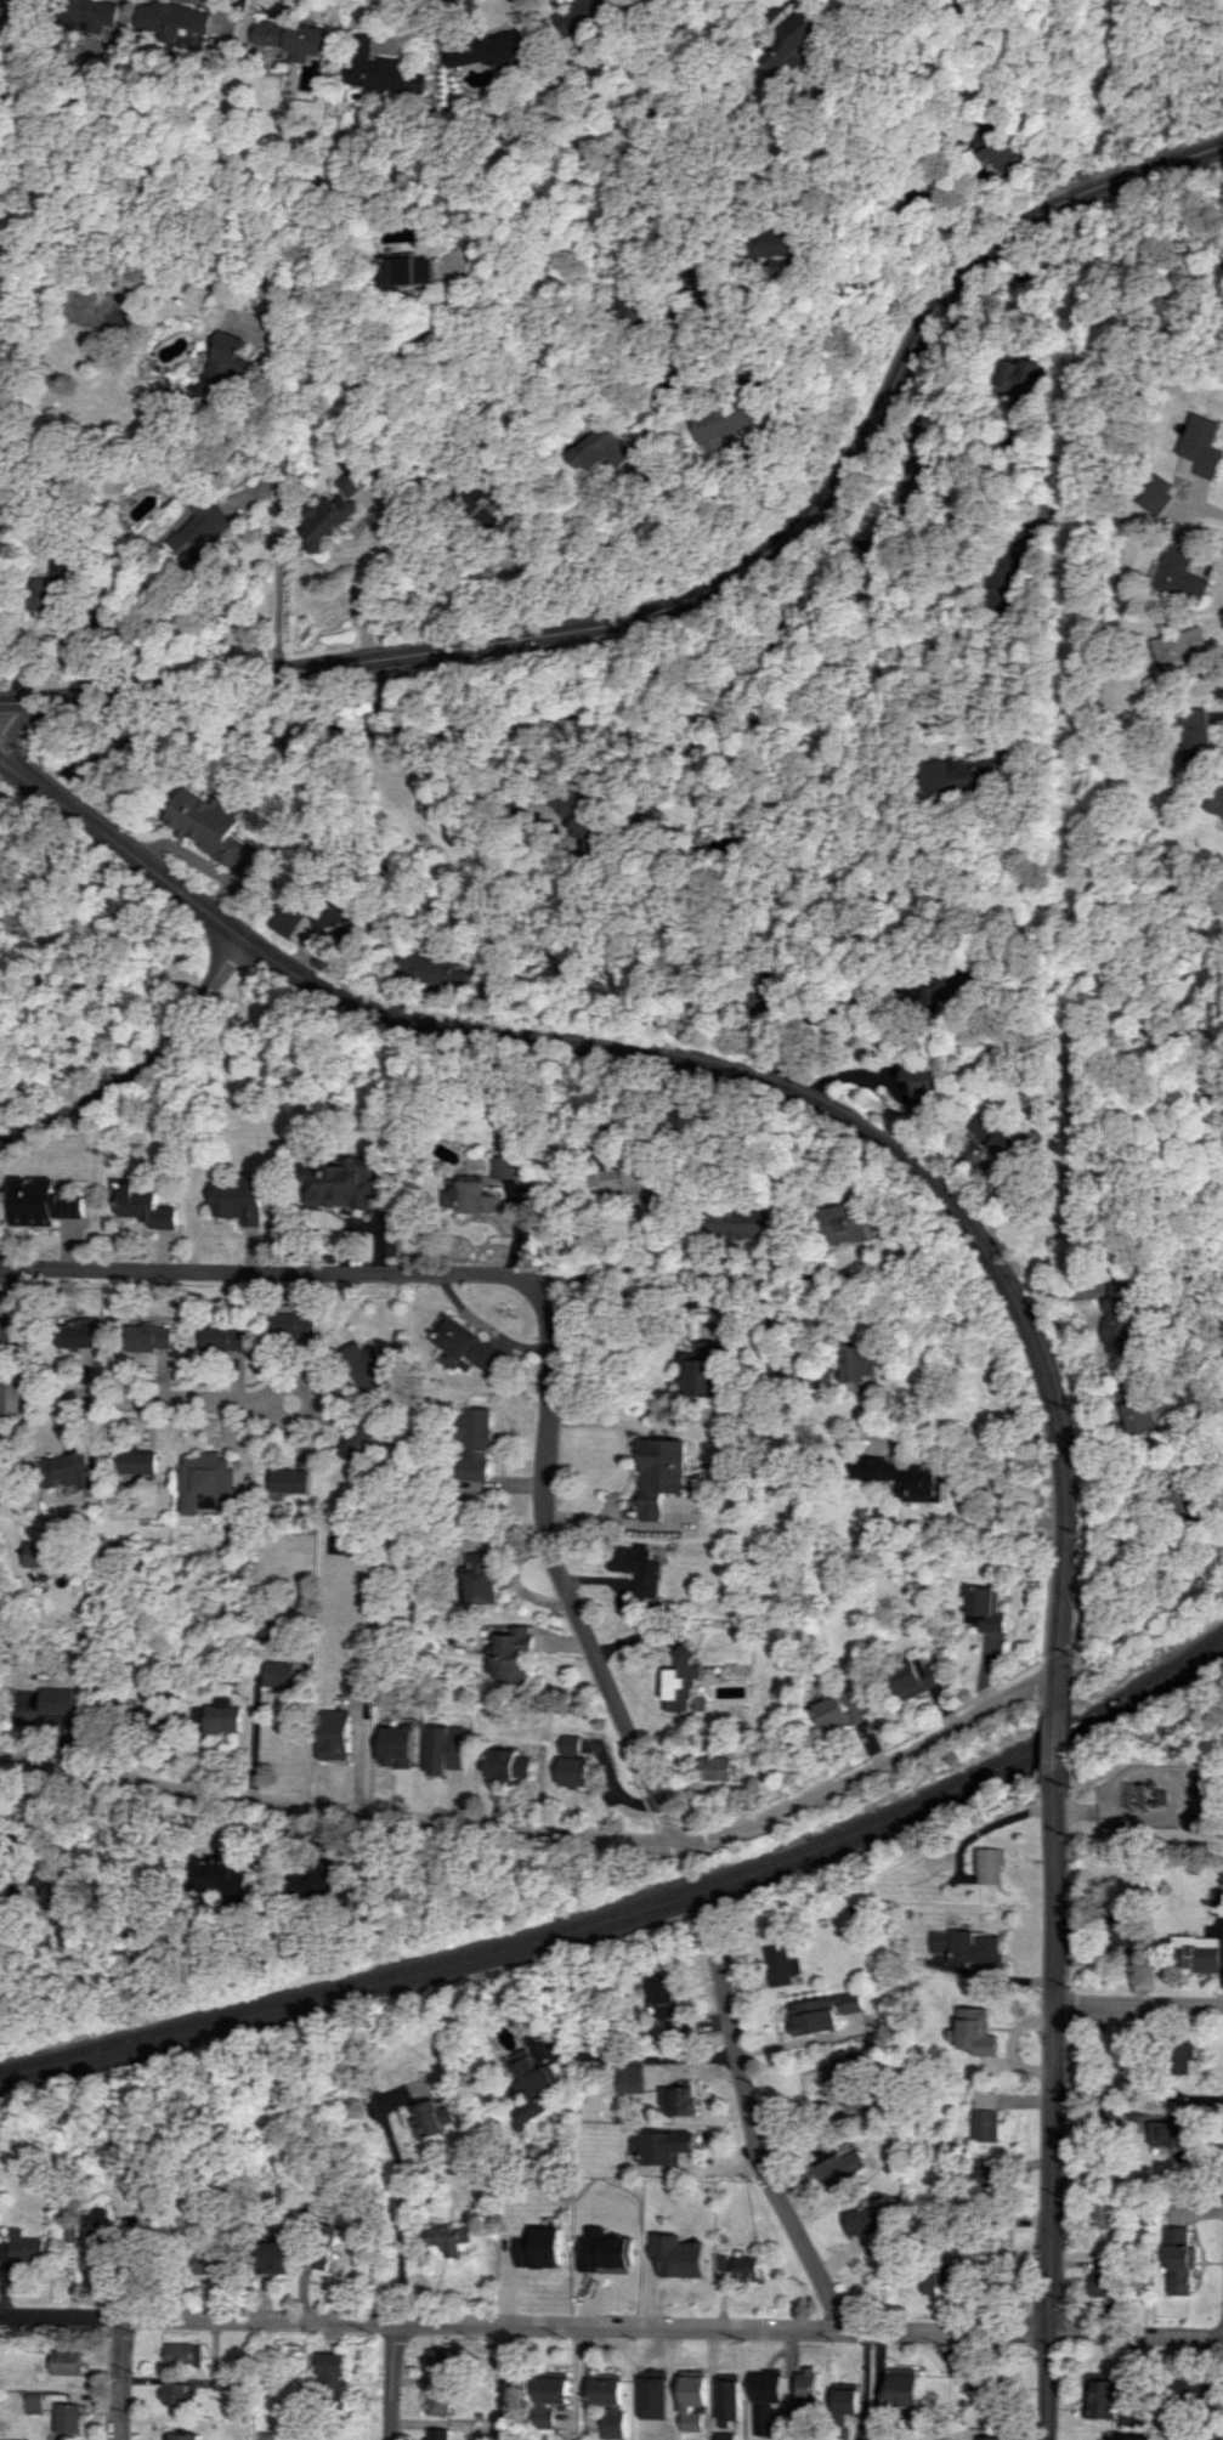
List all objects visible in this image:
building: (5, 4)
building: (584, 11)
road: (771, 13)
building: (172, 19)
building: (290, 38)
building: (788, 43)
building: (486, 51)
building: (372, 66)
building: (1003, 154)
building: (777, 249)
building: (404, 270)
road: (414, 333)
road: (299, 357)
building: (219, 358)
building: (1024, 383)
building: (721, 420)
road: (641, 431)
building: (1206, 446)
building: (596, 451)
building: (345, 482)
building: (1161, 493)
building: (474, 498)
road: (973, 504)
road: (825, 517)
building: (324, 520)
building: (200, 526)
road: (390, 526)
road: (849, 543)
road: (278, 559)
building: (1014, 568)
building: (1179, 576)
road: (723, 581)
building: (50, 588)
building: (1177, 651)
road: (380, 687)
road: (23, 702)
road: (16, 726)
road: (374, 728)
building: (1193, 737)
road: (5, 759)
road: (5, 762)
road: (871, 765)
road: (455, 774)
building: (966, 774)
building: (1214, 802)
building: (584, 820)
building: (208, 825)
building: (332, 916)
building: (283, 918)
building: (429, 970)
road: (817, 1018)
road: (140, 1063)
road: (719, 1066)
building: (923, 1085)
building: (996, 1137)
building: (503, 1167)
building: (622, 1178)
building: (340, 1183)
building: (468, 1196)
building: (239, 1199)
building: (41, 1202)
building: (146, 1207)
building: (723, 1222)
building: (840, 1223)
road: (264, 1270)
road: (681, 1275)
building: (1116, 1313)
building: (291, 1324)
building: (77, 1334)
building: (147, 1337)
building: (226, 1337)
building: (463, 1343)
building: (362, 1363)
building: (856, 1365)
building: (698, 1370)
road: (131, 1399)
road: (307, 1400)
building: (1129, 1409)
building: (356, 1442)
building: (472, 1443)
building: (138, 1462)
building: (67, 1471)
building: (658, 1474)
building: (902, 1478)
building: (291, 1481)
building: (209, 1483)
road: (1007, 1500)
building: (40, 1553)
road: (555, 1567)
building: (639, 1568)
building: (481, 1578)
building: (984, 1609)
road: (1061, 1648)
building: (511, 1655)
road: (1075, 1669)
building: (282, 1674)
building: (916, 1677)
building: (684, 1681)
building: (58, 1699)
building: (842, 1711)
building: (220, 1716)
building: (158, 1719)
road: (917, 1732)
building: (336, 1733)
road: (1072, 1734)
road: (1061, 1739)
road: (256, 1745)
building: (445, 1749)
building: (571, 1762)
building: (506, 1765)
building: (718, 1767)
road: (1071, 1783)
power substation: (1155, 1796)
street lamp: (1041, 1800)
road: (1071, 1810)
road: (1080, 1810)
building: (1195, 1818)
road: (548, 1830)
building: (991, 1866)
building: (219, 1878)
building: (316, 1880)
building: (56, 1885)
building: (1217, 1901)
road: (1069, 1903)
railway: (632, 1904)
railway: (632, 1917)
building: (1117, 1937)
building: (970, 1947)
building: (1196, 1952)
building: (781, 1965)
building: (662, 1998)
road: (1139, 2003)
building: (822, 2012)
building: (986, 2037)
road: (647, 2054)
building: (1182, 2054)
building: (836, 2068)
building: (624, 2078)
building: (531, 2091)
building: (673, 2100)
road: (1054, 2107)
building: (984, 2116)
building: (430, 2118)
building: (1167, 2133)
building: (662, 2146)
road: (752, 2147)
building: (838, 2168)
building: (985, 2174)
building: (1100, 2213)
road: (386, 2215)
building: (868, 2219)
building: (92, 2225)
building: (445, 2238)
building: (21, 2247)
building: (539, 2248)
building: (317, 2253)
building: (272, 2254)
building: (675, 2255)
building: (211, 2261)
building: (1177, 2261)
building: (601, 2263)
building: (737, 2265)
building: (939, 2276)
building: (1100, 2285)
road: (611, 2326)
building: (181, 2354)
building: (437, 2359)
building: (66, 2362)
building: (332, 2376)
road: (117, 2378)
road: (393, 2382)
building: (805, 2384)
building: (1194, 2390)
building: (900, 2391)
building: (175, 2394)
building: (1099, 2396)
building: (548, 2399)
building: (726, 2400)
building: (607, 2401)
building: (690, 2401)
building: (765, 2401)
building: (845, 2401)
building: (438, 2402)
building: (68, 2419)
building: (437, 2434)
building: (265, 2435)
building: (181, 2436)
building: (1129, 2438)

